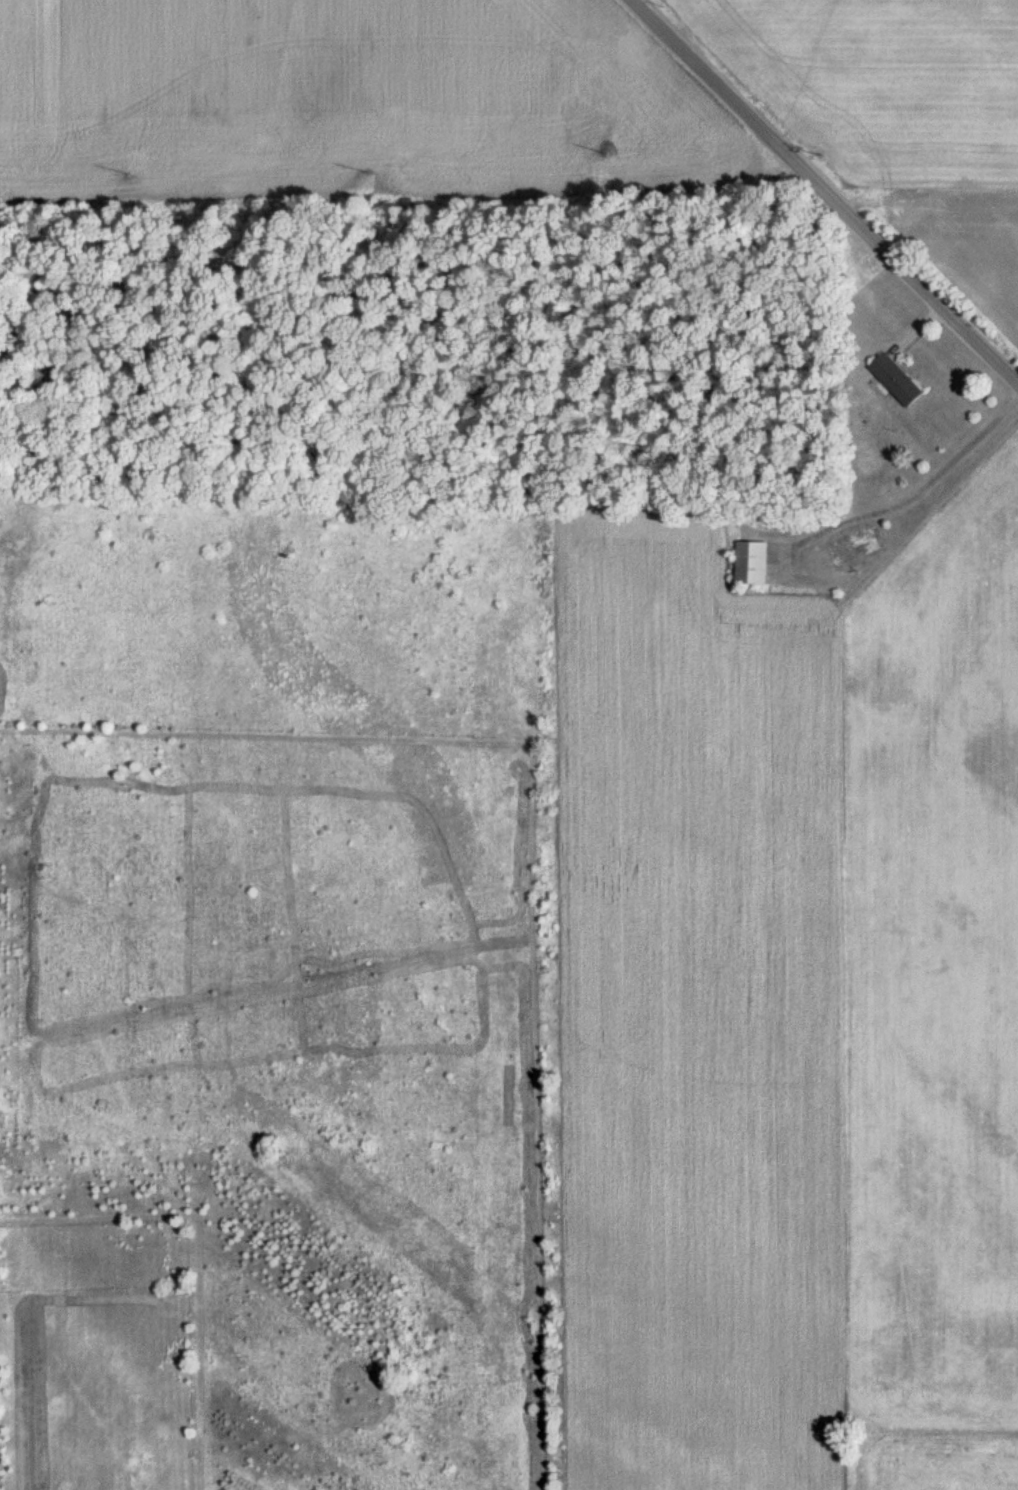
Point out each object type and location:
road: (828, 192)
building: (893, 380)
road: (923, 495)
building: (749, 563)

